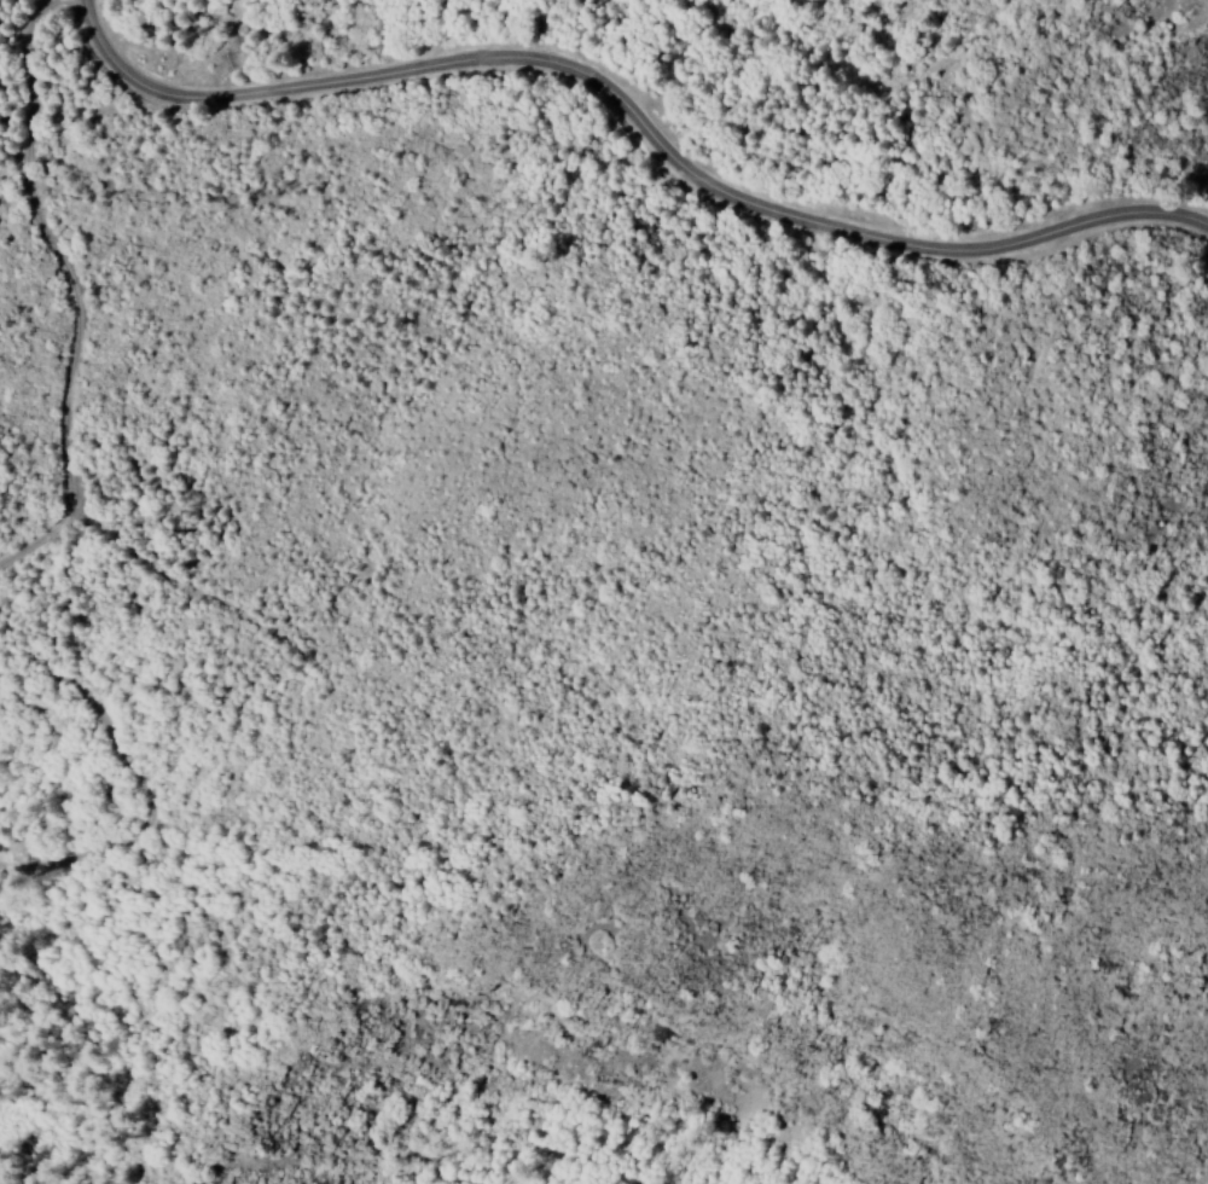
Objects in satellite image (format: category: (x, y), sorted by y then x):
road: (632, 115)

